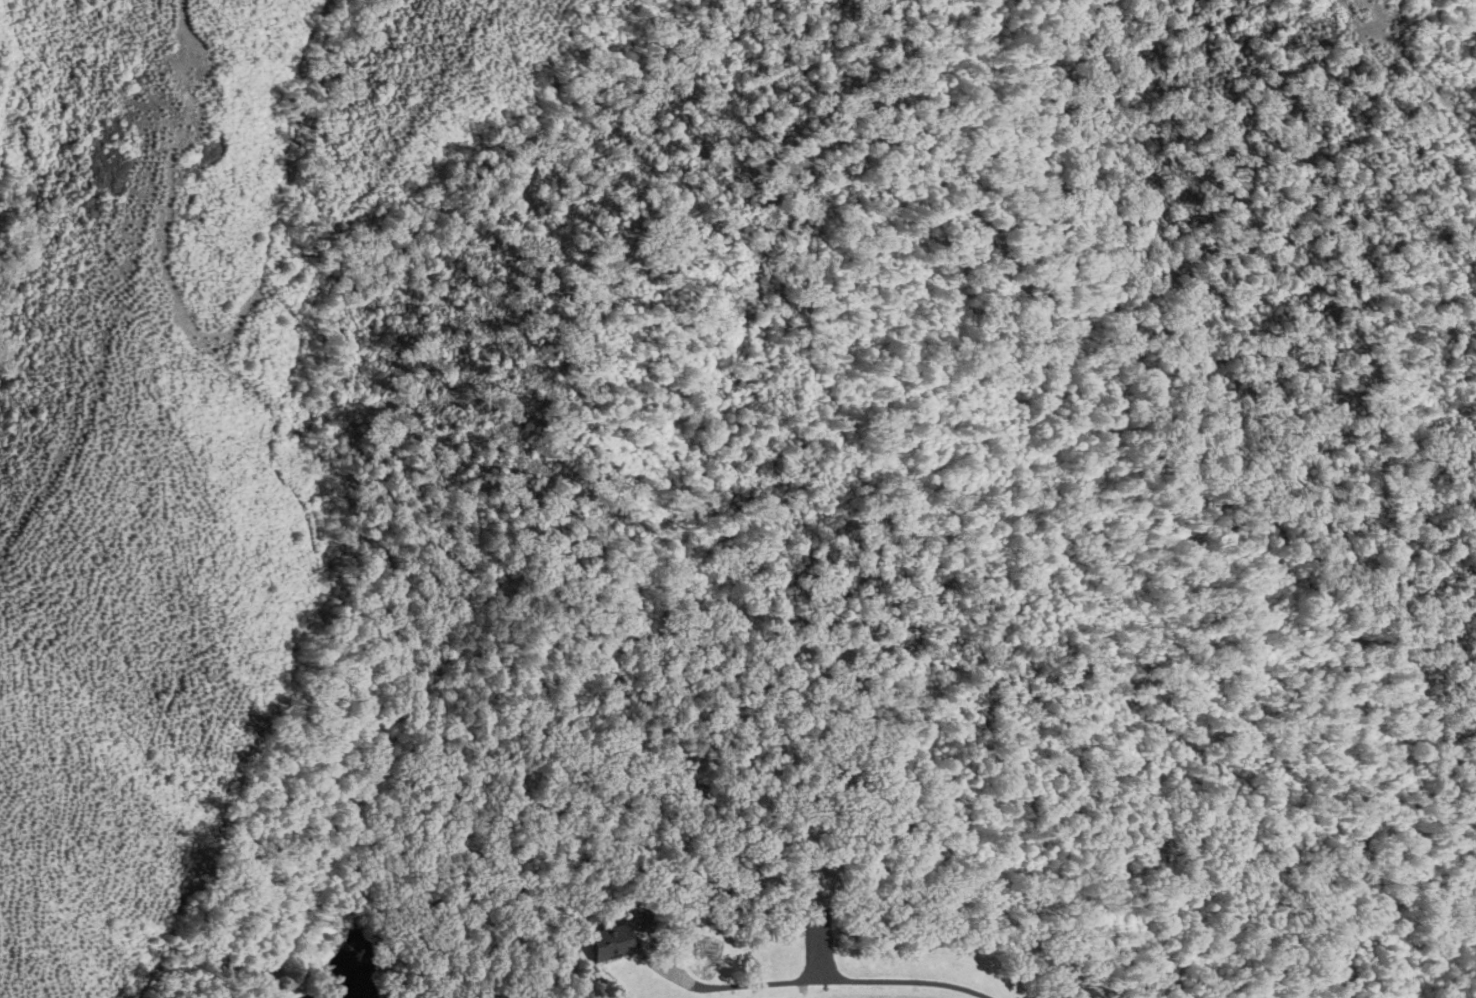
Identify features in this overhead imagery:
building: (810, 891)
building: (602, 943)
road: (797, 984)

